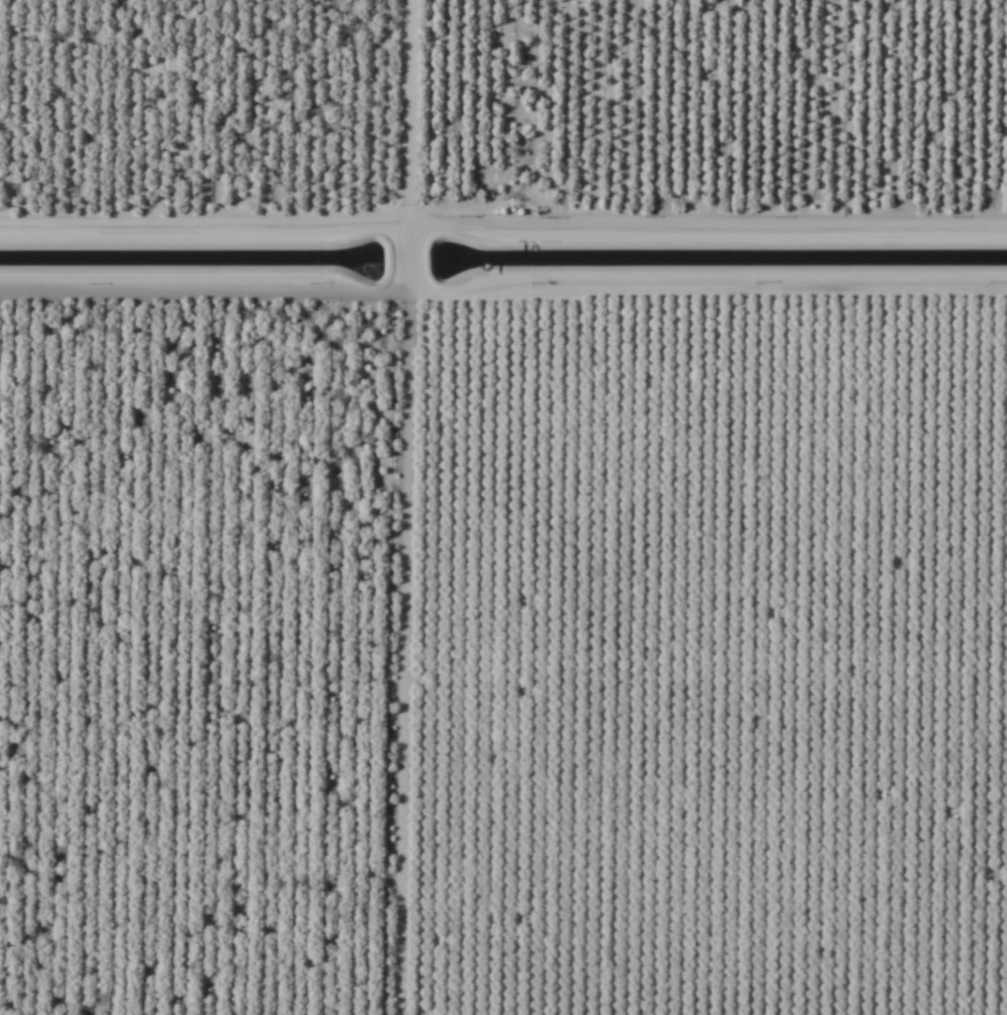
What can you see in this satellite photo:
crop: (503, 507)
road: (536, 1014)

